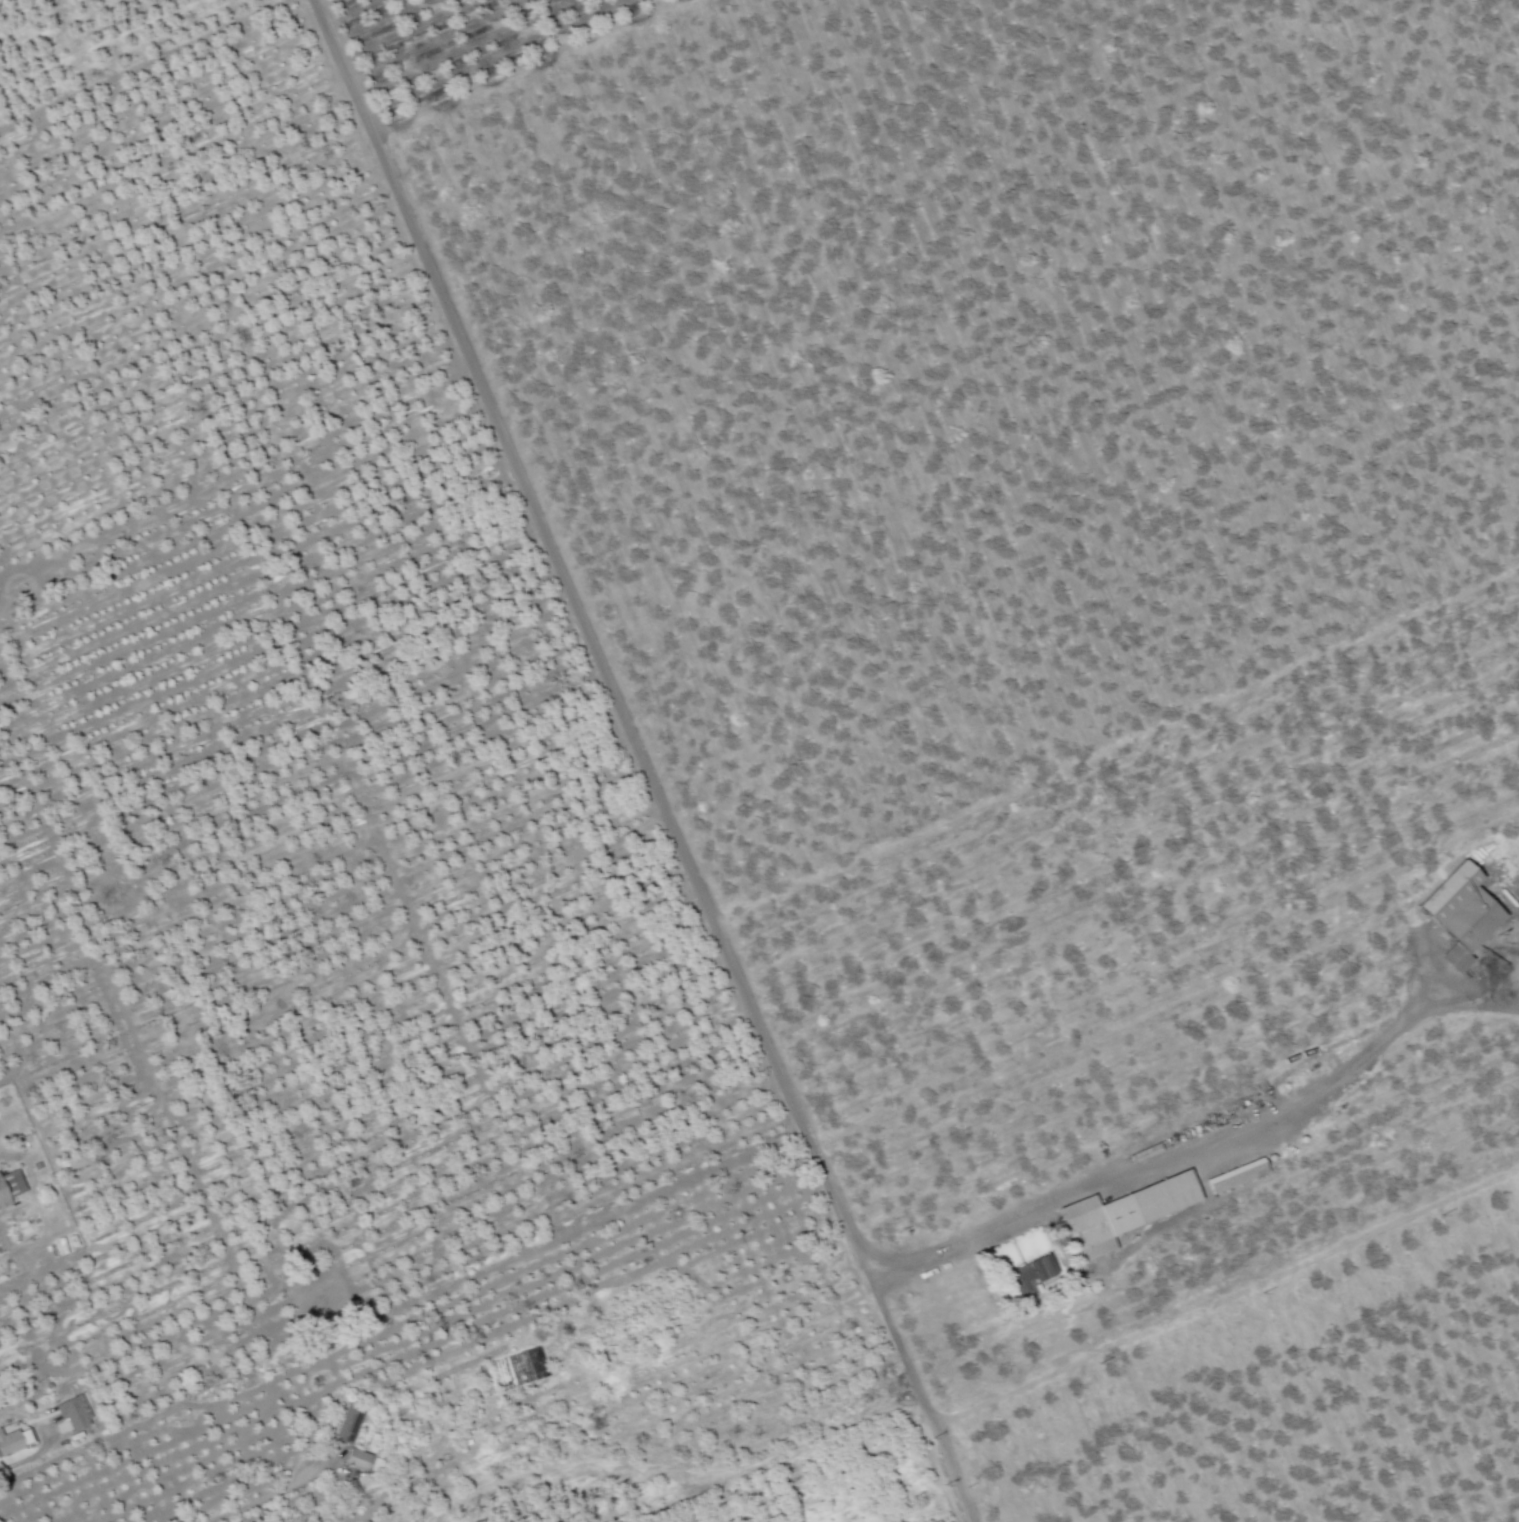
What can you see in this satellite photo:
building: (1466, 913)
road: (726, 965)
building: (1239, 1175)
building: (11, 1187)
building: (1127, 1214)
building: (1037, 1272)
road: (1222, 1302)
road: (914, 1396)
building: (75, 1412)
building: (350, 1423)
building: (15, 1440)
road: (28, 1459)
building: (360, 1459)
road: (279, 1493)

